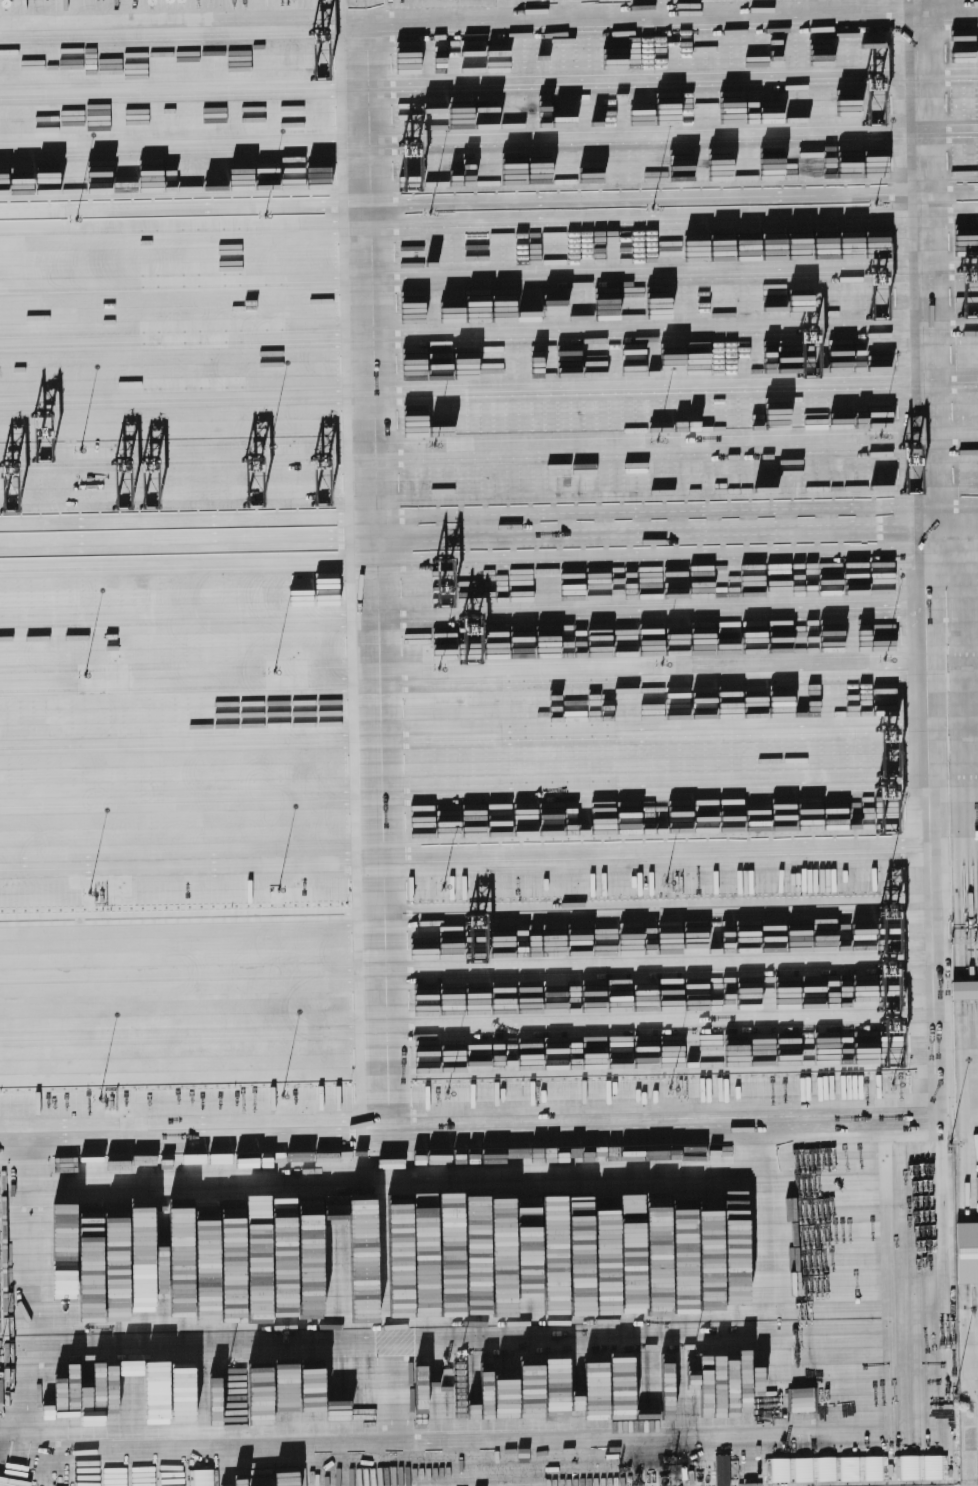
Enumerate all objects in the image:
road: (134, 1)
road: (940, 3)
helipad: (866, 103)
road: (964, 188)
road: (494, 199)
road: (964, 213)
road: (657, 221)
road: (952, 240)
road: (659, 277)
road: (663, 390)
road: (664, 453)
road: (674, 520)
road: (352, 746)
building: (964, 990)
building: (967, 1253)
building: (1, 1391)
building: (919, 1467)
building: (826, 1469)
building: (722, 1470)
building: (202, 1478)

